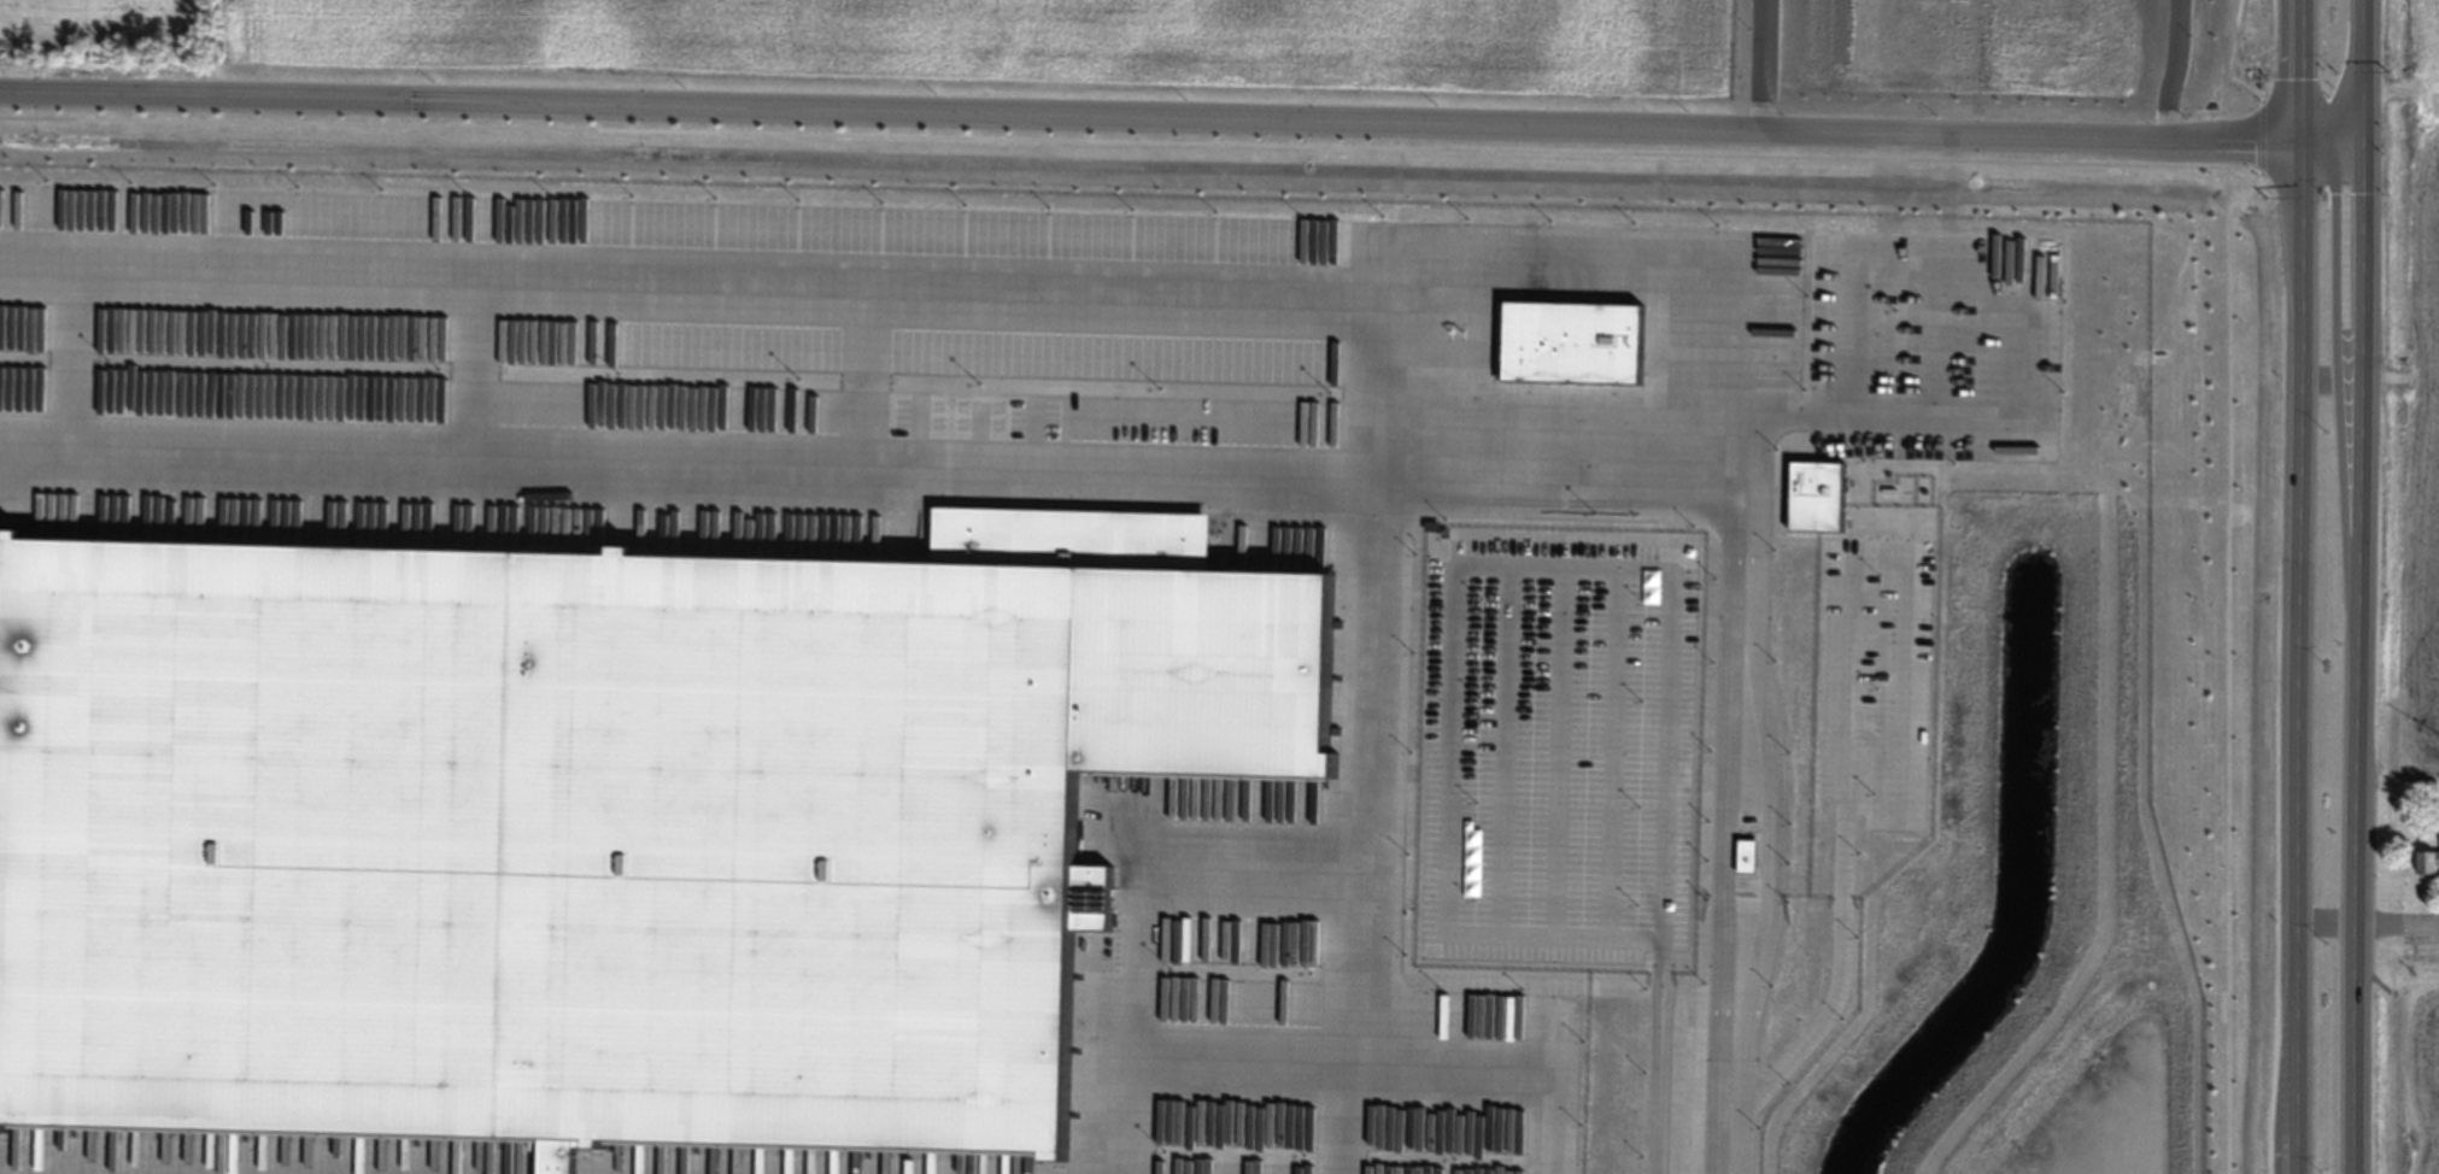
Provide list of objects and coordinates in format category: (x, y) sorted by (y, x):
road: (1182, 112)
traffic signals: (2297, 139)
traffic signals: (2363, 139)
road: (1319, 286)
road: (2363, 586)
road: (2299, 587)
road: (1374, 816)
building: (593, 834)
building: (2428, 863)
road: (2329, 917)
road: (2400, 918)

